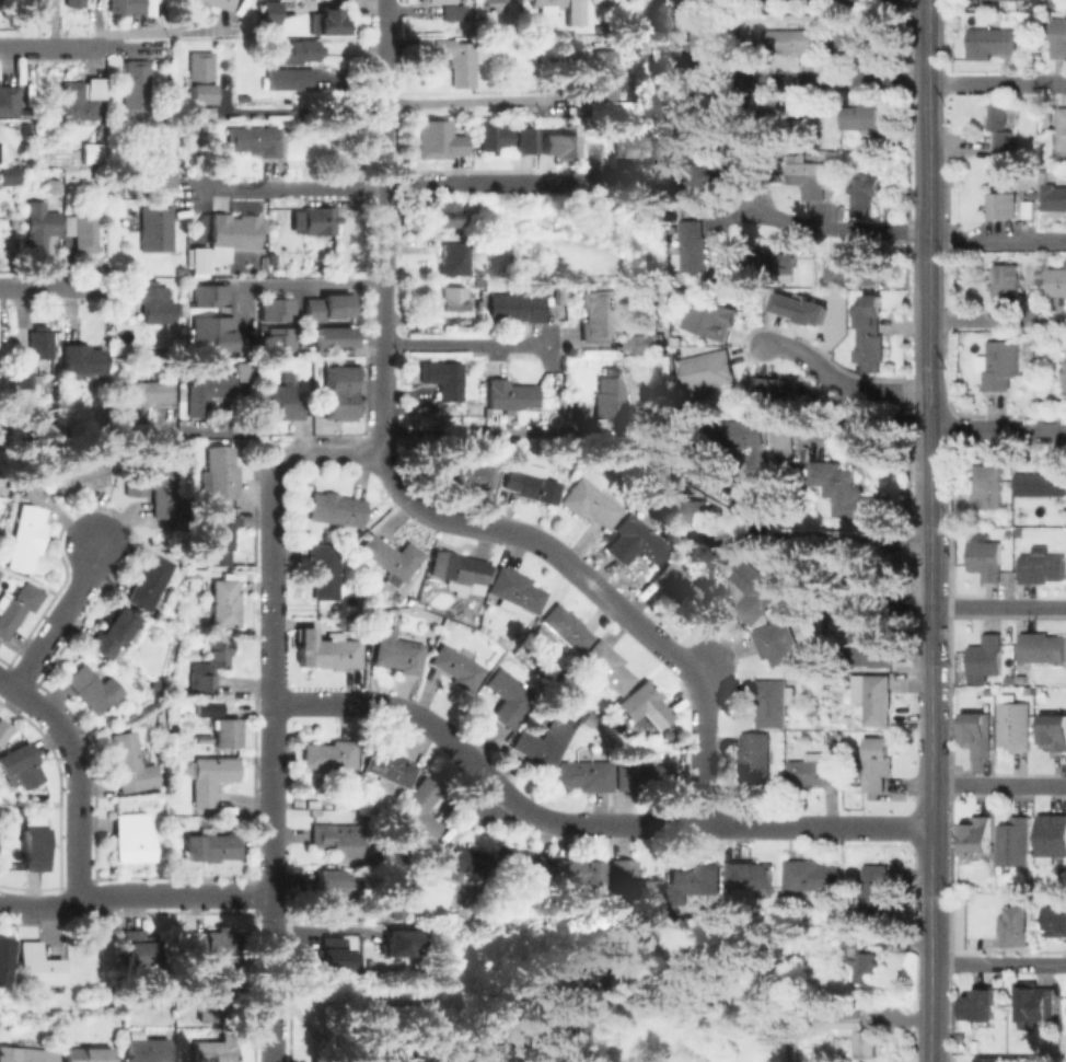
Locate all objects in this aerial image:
building: (498, 0)
building: (984, 0)
building: (74, 2)
building: (35, 3)
building: (221, 3)
building: (546, 4)
building: (126, 5)
building: (450, 9)
building: (269, 12)
building: (575, 12)
building: (333, 24)
building: (1059, 38)
building: (789, 41)
building: (864, 42)
building: (992, 42)
road: (54, 46)
building: (703, 46)
building: (301, 49)
building: (462, 57)
building: (604, 74)
building: (199, 77)
building: (290, 77)
road: (836, 78)
road: (996, 83)
building: (136, 86)
building: (9, 100)
building: (78, 100)
road: (457, 107)
road: (301, 109)
building: (201, 112)
building: (698, 113)
building: (780, 116)
building: (868, 116)
building: (1000, 126)
building: (1062, 129)
building: (251, 139)
building: (506, 139)
building: (437, 140)
road: (928, 140)
building: (558, 145)
building: (633, 148)
building: (93, 154)
building: (162, 158)
building: (856, 158)
building: (10, 175)
road: (485, 180)
building: (705, 180)
building: (810, 180)
building: (53, 186)
road: (288, 187)
building: (129, 193)
building: (99, 195)
building: (864, 195)
building: (1054, 199)
building: (1003, 200)
building: (451, 210)
building: (316, 219)
building: (40, 227)
building: (0, 228)
road: (383, 228)
building: (85, 230)
building: (157, 230)
road: (901, 230)
building: (235, 232)
building: (696, 245)
building: (455, 259)
building: (199, 261)
building: (768, 263)
building: (849, 268)
building: (1006, 280)
building: (1056, 281)
road: (293, 284)
road: (54, 286)
building: (206, 295)
building: (558, 297)
building: (453, 298)
building: (157, 303)
building: (515, 305)
building: (328, 308)
building: (800, 308)
building: (276, 309)
building: (600, 314)
building: (710, 318)
road: (997, 318)
building: (211, 333)
building: (869, 334)
building: (331, 335)
road: (929, 335)
building: (276, 338)
building: (40, 342)
road: (463, 342)
building: (649, 343)
building: (83, 360)
building: (1000, 366)
building: (709, 370)
building: (246, 372)
building: (1064, 373)
building: (443, 377)
building: (24, 378)
road: (842, 381)
building: (778, 390)
building: (208, 391)
building: (338, 392)
building: (510, 394)
building: (144, 396)
building: (610, 396)
building: (282, 401)
road: (860, 418)
road: (997, 428)
building: (742, 431)
road: (232, 432)
building: (784, 448)
road: (328, 457)
road: (929, 457)
building: (703, 469)
building: (463, 470)
building: (219, 473)
building: (80, 478)
building: (1042, 483)
building: (150, 485)
building: (529, 487)
building: (988, 487)
building: (853, 496)
building: (589, 503)
building: (336, 509)
building: (694, 520)
building: (26, 532)
building: (1020, 532)
building: (220, 538)
building: (635, 541)
road: (831, 543)
building: (391, 557)
building: (986, 559)
building: (1044, 567)
building: (322, 570)
building: (457, 572)
road: (268, 577)
building: (150, 584)
building: (873, 585)
building: (675, 586)
building: (514, 591)
building: (754, 591)
road: (602, 593)
building: (221, 601)
road: (998, 605)
building: (16, 607)
road: (61, 615)
building: (564, 631)
building: (115, 632)
building: (777, 644)
building: (867, 645)
building: (325, 648)
building: (1044, 648)
building: (399, 653)
building: (987, 656)
building: (816, 657)
road: (700, 663)
building: (213, 665)
building: (603, 667)
building: (455, 668)
building: (1007, 678)
building: (1019, 678)
road: (7, 684)
building: (93, 689)
building: (1026, 689)
building: (987, 691)
building: (508, 697)
building: (878, 702)
building: (774, 703)
building: (646, 704)
building: (1011, 724)
building: (2, 730)
building: (1055, 732)
building: (227, 735)
building: (980, 735)
building: (543, 744)
building: (328, 754)
building: (756, 758)
building: (131, 764)
building: (877, 764)
building: (22, 766)
building: (386, 769)
building: (813, 772)
building: (584, 776)
building: (213, 778)
building: (642, 778)
road: (77, 781)
road: (998, 785)
road: (930, 793)
road: (483, 794)
building: (416, 812)
road: (581, 823)
building: (980, 835)
building: (132, 838)
building: (338, 840)
building: (1052, 840)
road: (270, 841)
building: (1016, 843)
building: (33, 844)
building: (211, 847)
building: (460, 858)
building: (522, 868)
building: (578, 876)
building: (813, 876)
building: (431, 877)
building: (755, 878)
building: (694, 884)
building: (630, 885)
road: (135, 892)
building: (878, 893)
building: (336, 896)
building: (1057, 917)
building: (1015, 926)
building: (397, 942)
building: (212, 944)
building: (140, 950)
building: (334, 955)
building: (859, 955)
building: (4, 957)
building: (37, 963)
road: (997, 963)
building: (212, 993)
park: (572, 998)
building: (981, 1005)
building: (1036, 1005)
road: (271, 1021)
building: (851, 1029)
building: (144, 1049)
building: (213, 1050)
road: (370, 1051)
building: (88, 1052)
building: (25, 1054)
building: (1007, 1060)

